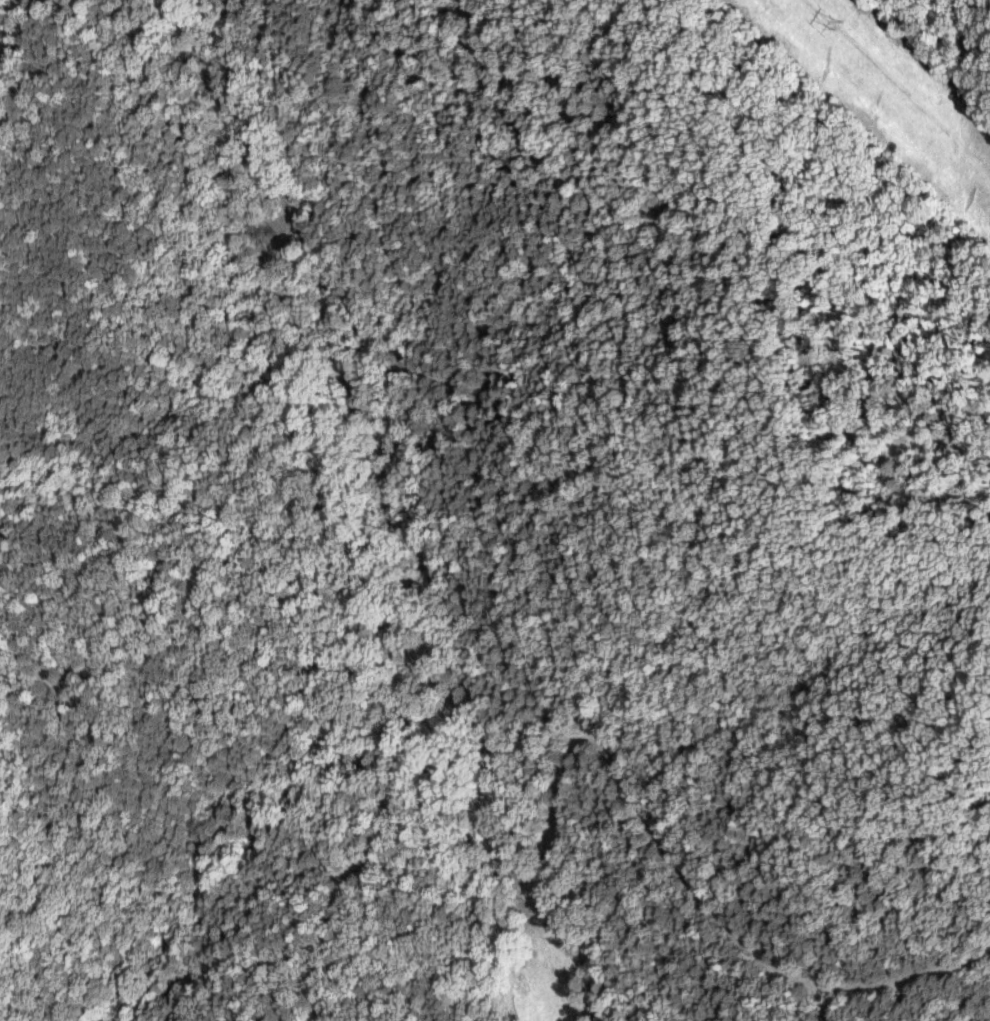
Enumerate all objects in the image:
power tower: (837, 27)

